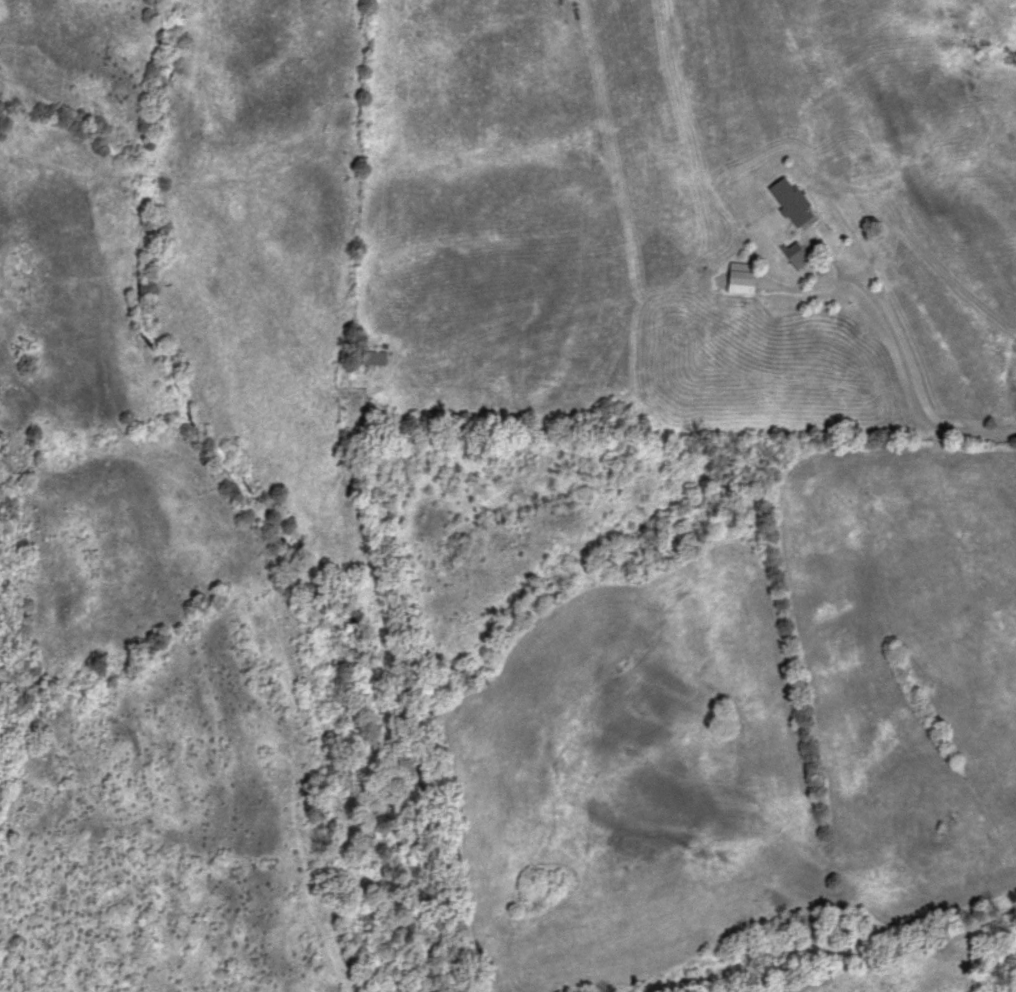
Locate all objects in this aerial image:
building: (792, 208)
building: (791, 253)
building: (371, 357)
road: (900, 360)

